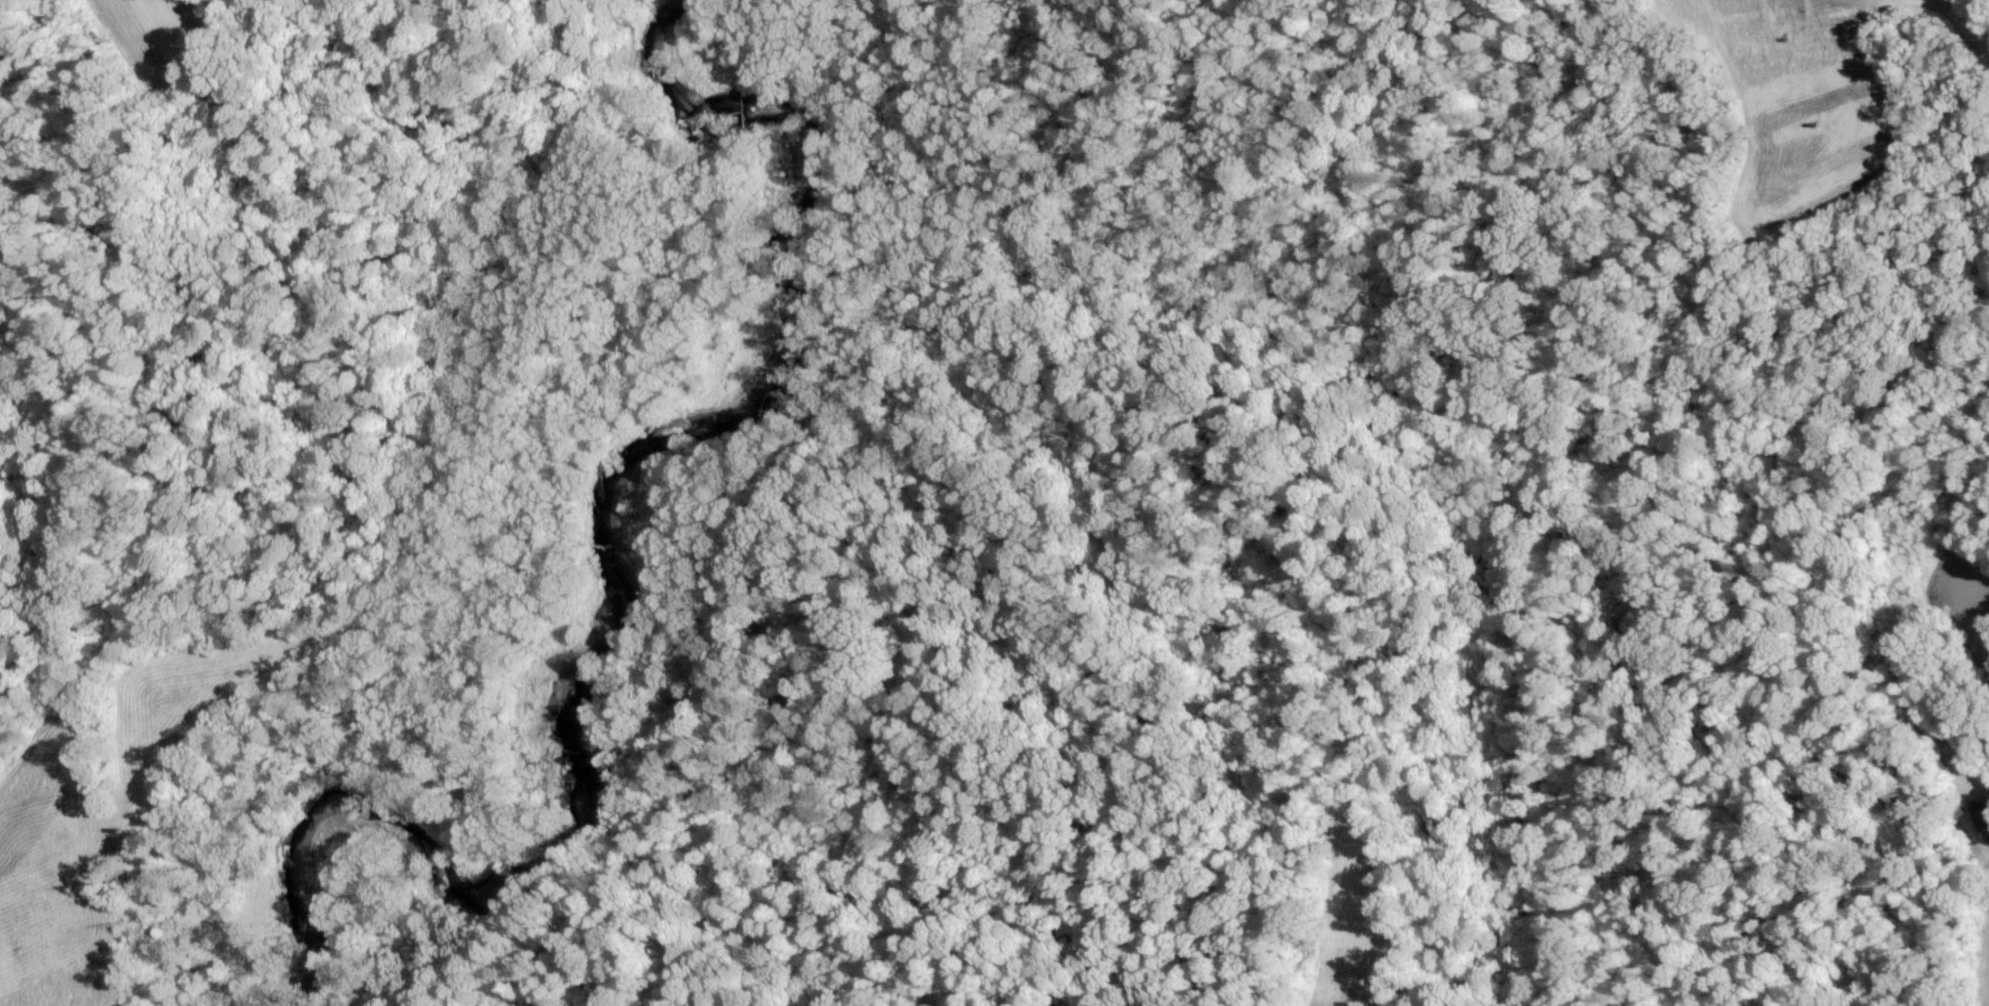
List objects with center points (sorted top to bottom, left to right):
road: (1969, 17)
building: (1982, 813)

